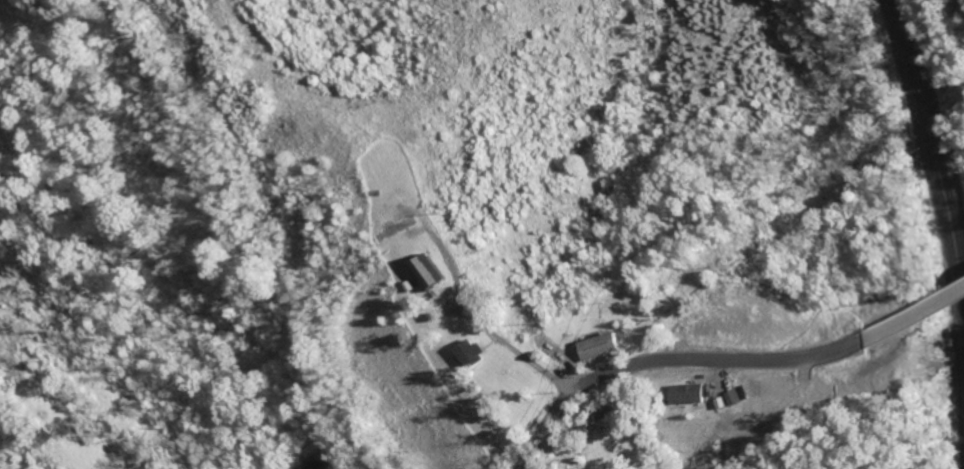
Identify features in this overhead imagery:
railway: (938, 166)
railway: (938, 204)
building: (398, 228)
building: (430, 270)
road: (913, 312)
road: (497, 337)
building: (602, 344)
building: (473, 352)
road: (670, 360)
building: (692, 392)
building: (726, 403)

